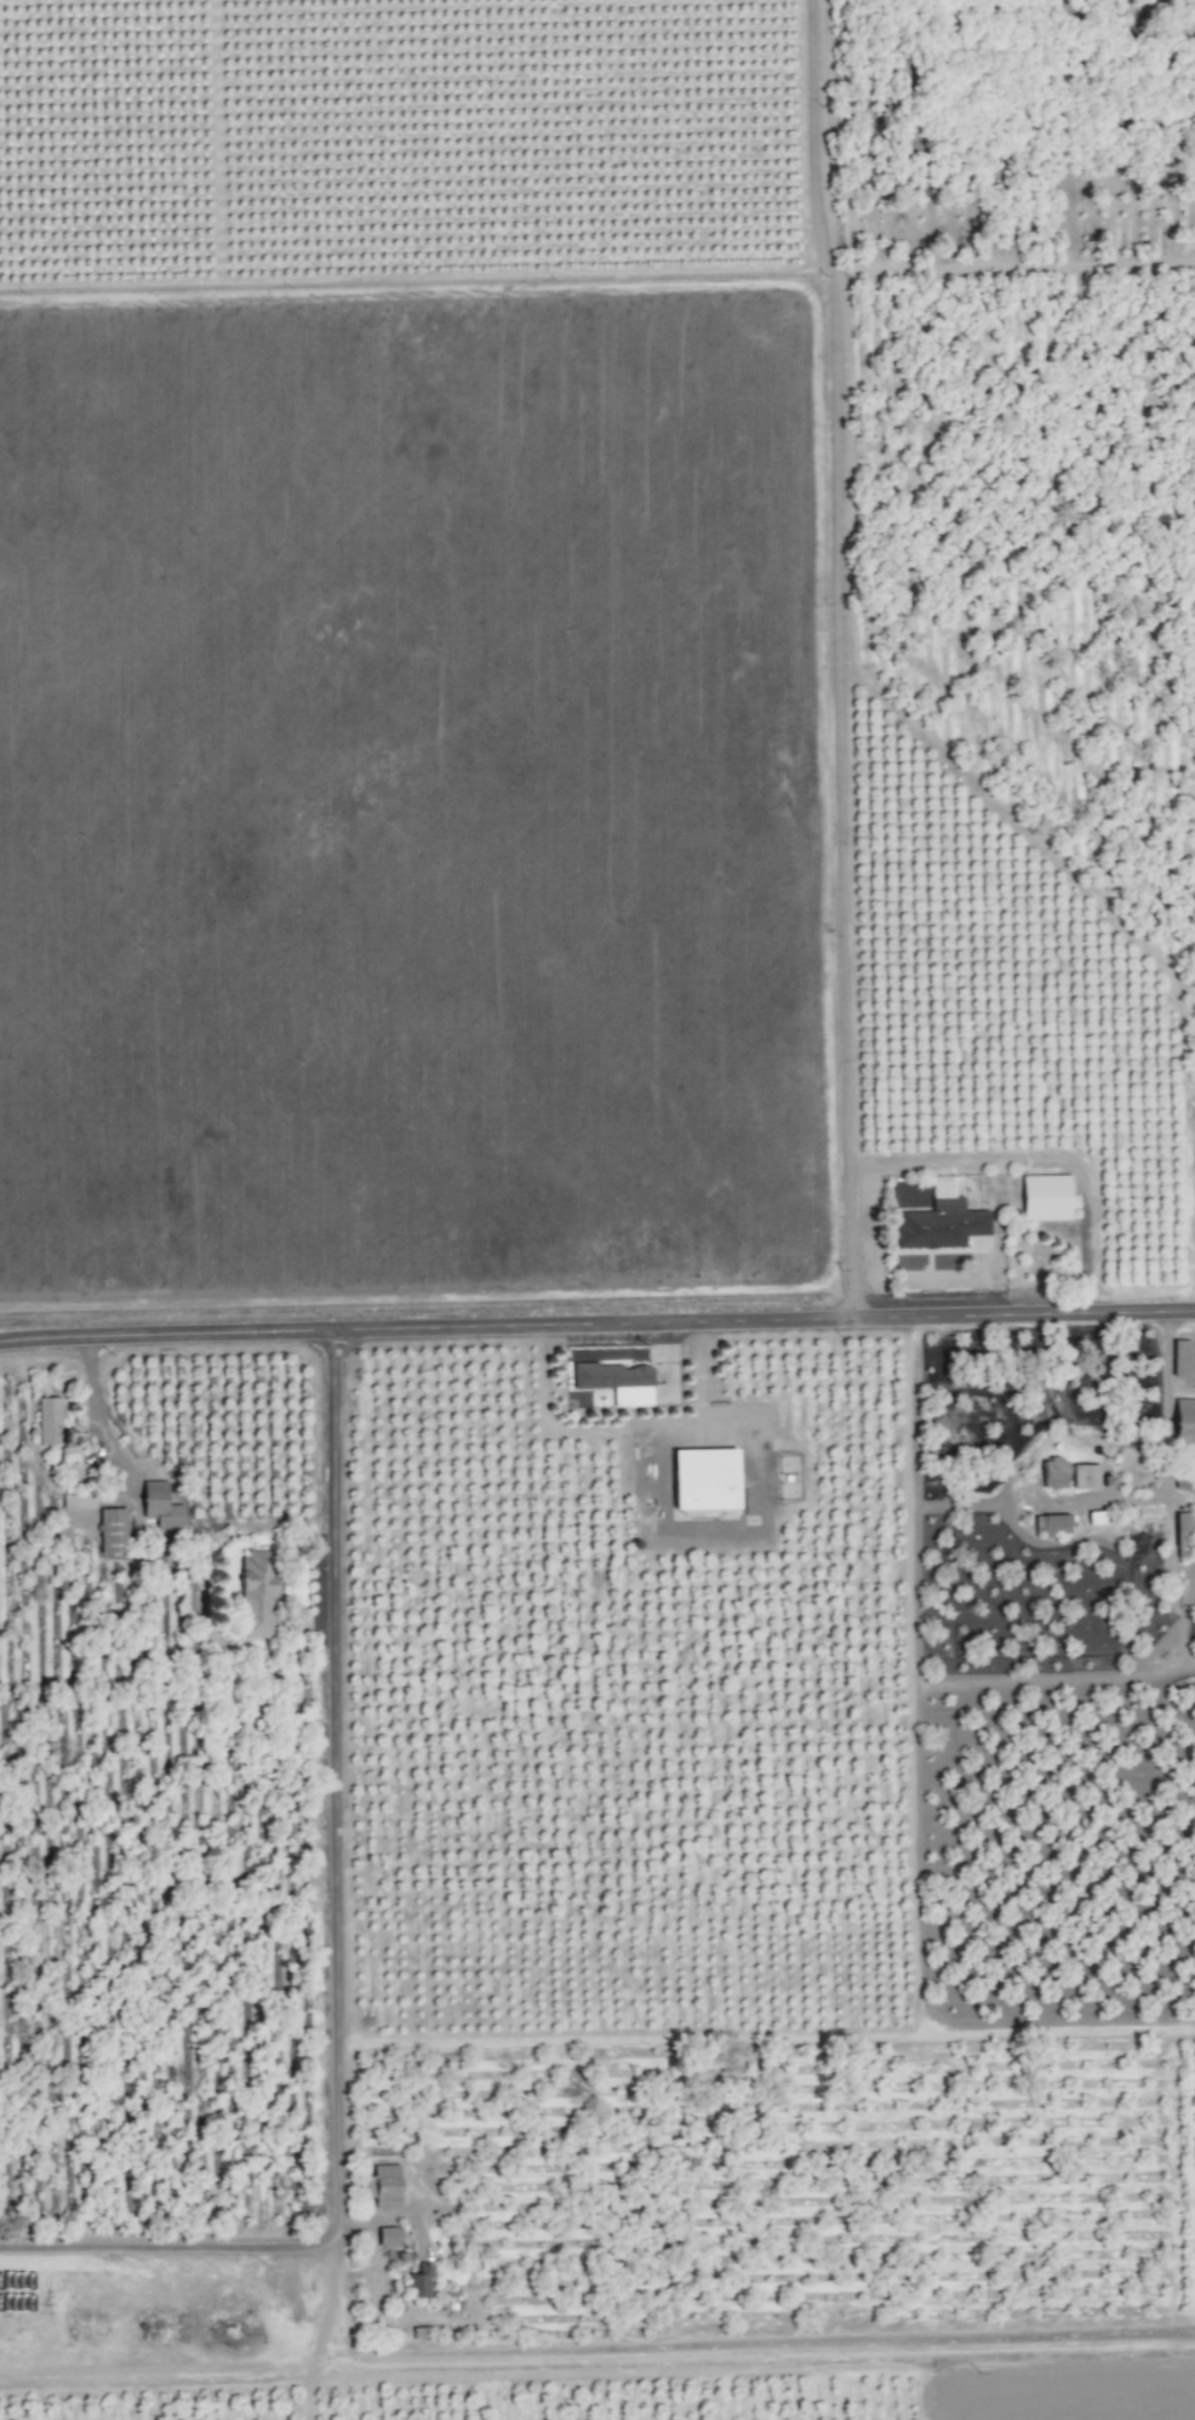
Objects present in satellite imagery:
road: (844, 657)
road: (1036, 1154)
building: (1046, 1197)
building: (939, 1220)
road: (596, 1323)
building: (1179, 1357)
building: (614, 1381)
road: (88, 1419)
building: (48, 1421)
building: (1184, 1421)
road: (1155, 1452)
building: (1053, 1473)
building: (1088, 1477)
building: (703, 1478)
building: (78, 1501)
building: (159, 1506)
road: (757, 1514)
building: (1053, 1524)
building: (112, 1529)
building: (1180, 1534)
building: (257, 1592)
road: (343, 1957)
building: (382, 2185)
building: (388, 2234)
building: (418, 2281)

